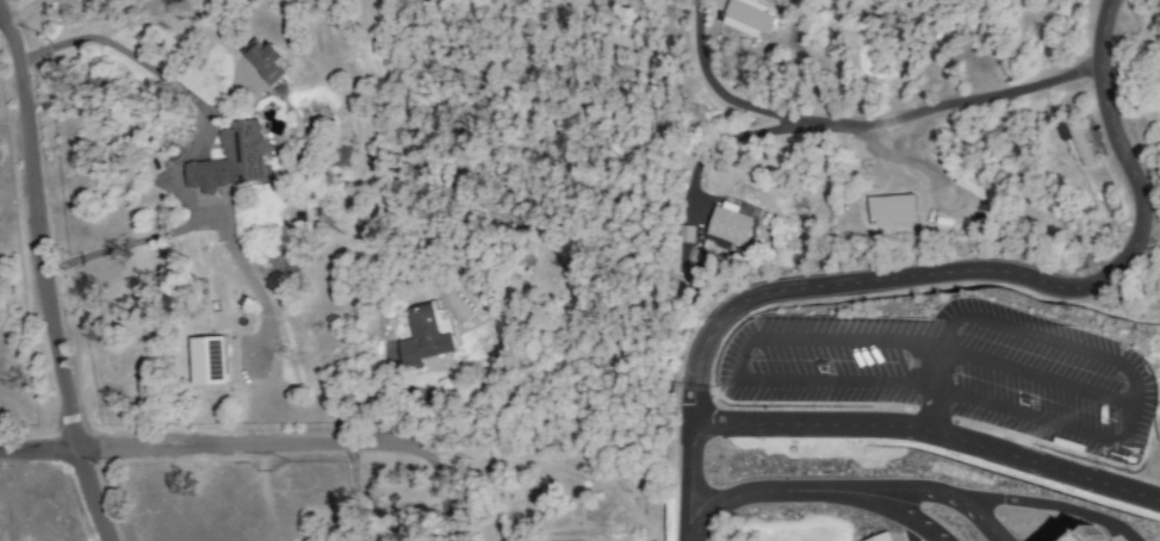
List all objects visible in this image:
building: (746, 17)
road: (1, 18)
building: (266, 61)
road: (863, 124)
road: (756, 133)
building: (1079, 141)
road: (199, 142)
building: (231, 160)
road: (910, 161)
building: (891, 210)
building: (732, 222)
road: (1152, 230)
road: (51, 275)
road: (1007, 275)
building: (441, 321)
road: (986, 322)
road: (824, 334)
building: (422, 338)
building: (207, 361)
parking lot: (948, 371)
road: (1063, 429)
road: (931, 436)
road: (348, 448)
road: (43, 459)
road: (691, 483)
road: (819, 492)
road: (355, 495)
road: (1011, 503)
road: (979, 518)
building: (1097, 528)
parking lot: (1097, 528)
building: (881, 537)
building: (892, 537)

